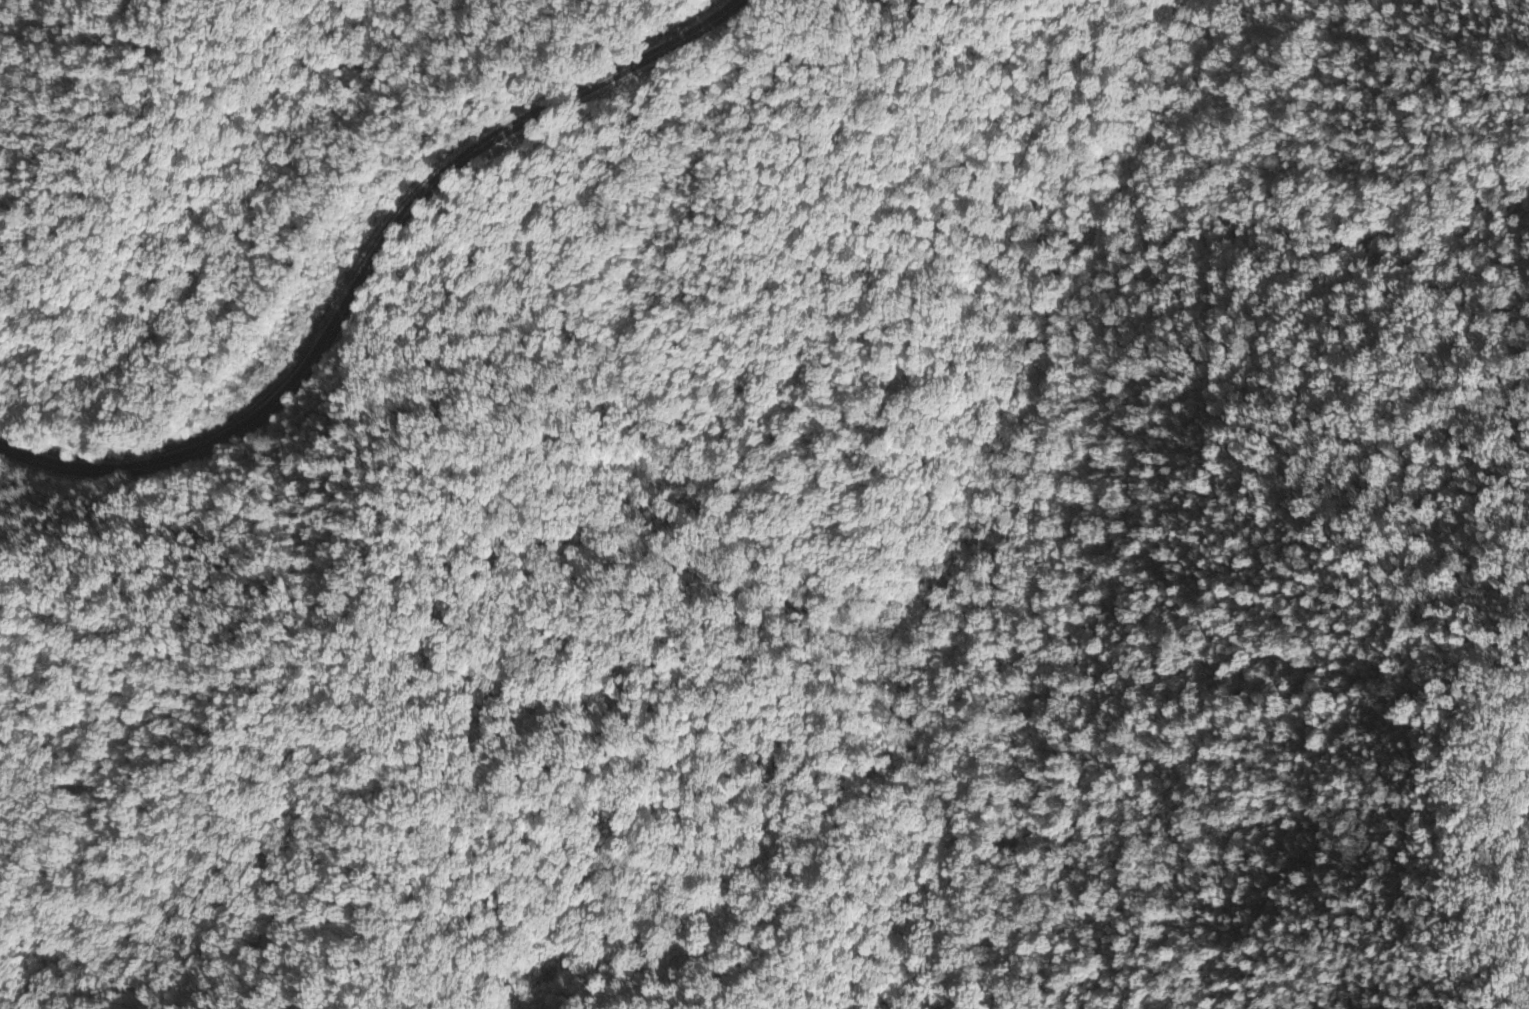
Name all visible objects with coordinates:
road: (921, 170)
road: (367, 265)
park: (894, 393)

